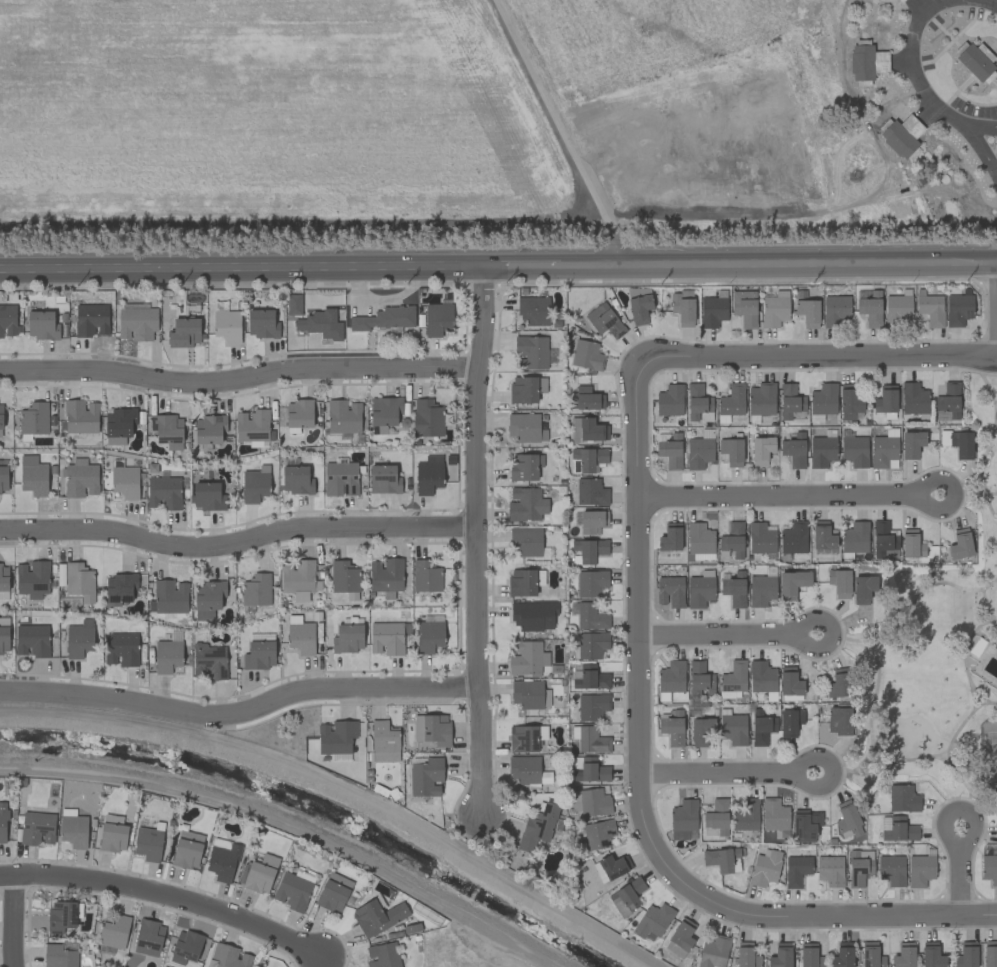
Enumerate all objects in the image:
road: (992, 2)
road: (906, 59)
building: (975, 61)
building: (866, 62)
road: (971, 125)
road: (564, 132)
building: (900, 134)
road: (981, 150)
road: (498, 271)
building: (293, 304)
building: (682, 307)
building: (744, 307)
building: (898, 307)
building: (870, 308)
building: (930, 308)
building: (958, 308)
building: (639, 309)
building: (774, 309)
building: (836, 309)
building: (533, 310)
building: (713, 310)
building: (806, 312)
building: (383, 318)
building: (437, 319)
building: (92, 320)
building: (604, 321)
building: (137, 323)
building: (263, 323)
building: (320, 324)
building: (42, 325)
building: (227, 326)
building: (185, 332)
building: (530, 352)
building: (586, 355)
road: (240, 381)
building: (526, 389)
building: (587, 399)
building: (761, 399)
building: (823, 399)
building: (885, 399)
building: (913, 399)
building: (669, 400)
building: (790, 401)
building: (849, 401)
building: (731, 402)
building: (948, 402)
building: (698, 404)
building: (384, 412)
building: (298, 413)
building: (1, 414)
building: (81, 416)
building: (343, 416)
building: (33, 418)
building: (426, 418)
building: (120, 422)
building: (252, 425)
building: (525, 427)
building: (209, 429)
building: (168, 430)
building: (587, 430)
building: (946, 438)
building: (911, 444)
building: (963, 445)
building: (794, 449)
building: (699, 450)
building: (761, 450)
building: (884, 450)
building: (668, 451)
building: (731, 451)
building: (821, 451)
building: (854, 451)
building: (589, 459)
building: (524, 466)
building: (428, 475)
building: (3, 476)
building: (34, 478)
building: (80, 478)
building: (340, 478)
building: (383, 479)
building: (296, 480)
building: (125, 482)
building: (254, 485)
road: (953, 485)
building: (164, 492)
building: (590, 492)
road: (780, 495)
building: (208, 496)
building: (525, 505)
building: (590, 521)
building: (822, 536)
road: (478, 538)
building: (669, 538)
building: (699, 538)
building: (793, 538)
building: (855, 538)
building: (732, 539)
building: (760, 539)
building: (884, 540)
building: (526, 541)
road: (238, 543)
building: (911, 544)
building: (960, 544)
building: (589, 549)
building: (700, 557)
building: (386, 575)
building: (4, 577)
building: (32, 577)
building: (425, 577)
building: (297, 578)
building: (344, 578)
building: (79, 581)
building: (839, 582)
building: (521, 583)
building: (590, 583)
building: (792, 583)
building: (121, 588)
building: (256, 589)
building: (734, 589)
building: (863, 589)
building: (670, 591)
building: (699, 591)
building: (761, 591)
building: (170, 596)
building: (208, 598)
road: (637, 606)
building: (533, 616)
building: (590, 617)
building: (351, 620)
road: (799, 625)
road: (717, 633)
building: (429, 636)
building: (301, 637)
building: (388, 637)
building: (347, 638)
building: (79, 639)
building: (4, 640)
building: (32, 640)
building: (592, 645)
building: (995, 647)
building: (121, 649)
building: (259, 655)
building: (167, 656)
building: (526, 658)
building: (209, 661)
building: (671, 677)
building: (761, 677)
building: (700, 680)
building: (733, 680)
building: (789, 681)
building: (837, 685)
building: (526, 694)
building: (592, 706)
road: (240, 714)
building: (839, 720)
building: (789, 722)
building: (671, 727)
building: (761, 728)
building: (431, 729)
building: (733, 729)
building: (701, 731)
building: (336, 737)
building: (527, 739)
building: (589, 739)
building: (384, 742)
building: (340, 757)
road: (835, 763)
building: (524, 769)
building: (593, 770)
road: (718, 771)
building: (426, 777)
road: (342, 790)
building: (902, 798)
building: (590, 802)
building: (746, 815)
building: (717, 816)
building: (774, 816)
building: (683, 819)
building: (848, 820)
building: (4, 825)
building: (537, 827)
building: (802, 827)
building: (37, 828)
building: (898, 829)
building: (74, 830)
building: (112, 833)
building: (598, 834)
building: (148, 843)
building: (187, 849)
building: (222, 860)
building: (722, 860)
building: (610, 867)
building: (859, 867)
building: (765, 868)
building: (989, 868)
road: (959, 869)
building: (796, 870)
building: (830, 870)
building: (891, 870)
building: (920, 870)
building: (258, 874)
road: (160, 892)
building: (292, 892)
building: (333, 893)
building: (626, 896)
building: (62, 916)
building: (378, 916)
building: (652, 920)
road: (10, 921)
building: (114, 932)
building: (682, 934)
building: (149, 938)
building: (185, 947)
building: (674, 950)
building: (713, 952)
building: (989, 953)
building: (382, 955)
building: (746, 955)
building: (780, 955)
building: (842, 955)
building: (871, 955)
building: (903, 955)
building: (931, 955)
building: (966, 955)
building: (59, 956)
building: (809, 956)

